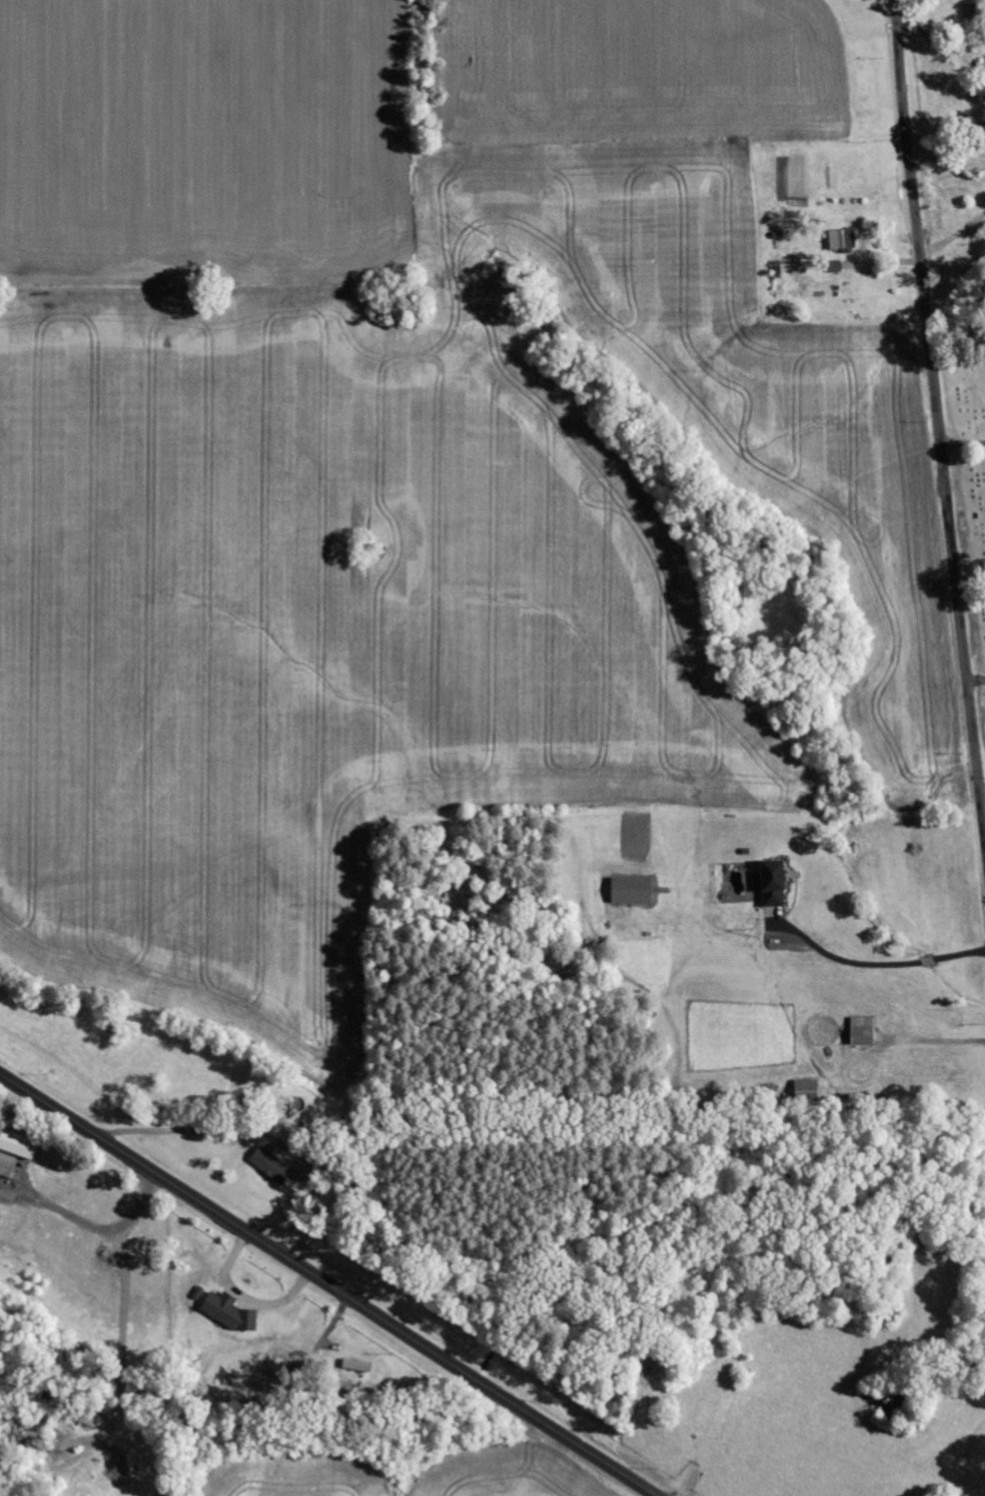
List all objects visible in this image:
building: (844, 241)
road: (936, 428)
park: (971, 481)
building: (775, 883)
building: (635, 890)
building: (865, 1031)
building: (807, 1090)
building: (21, 1145)
building: (8, 1165)
building: (273, 1166)
road: (328, 1284)
building: (232, 1313)

